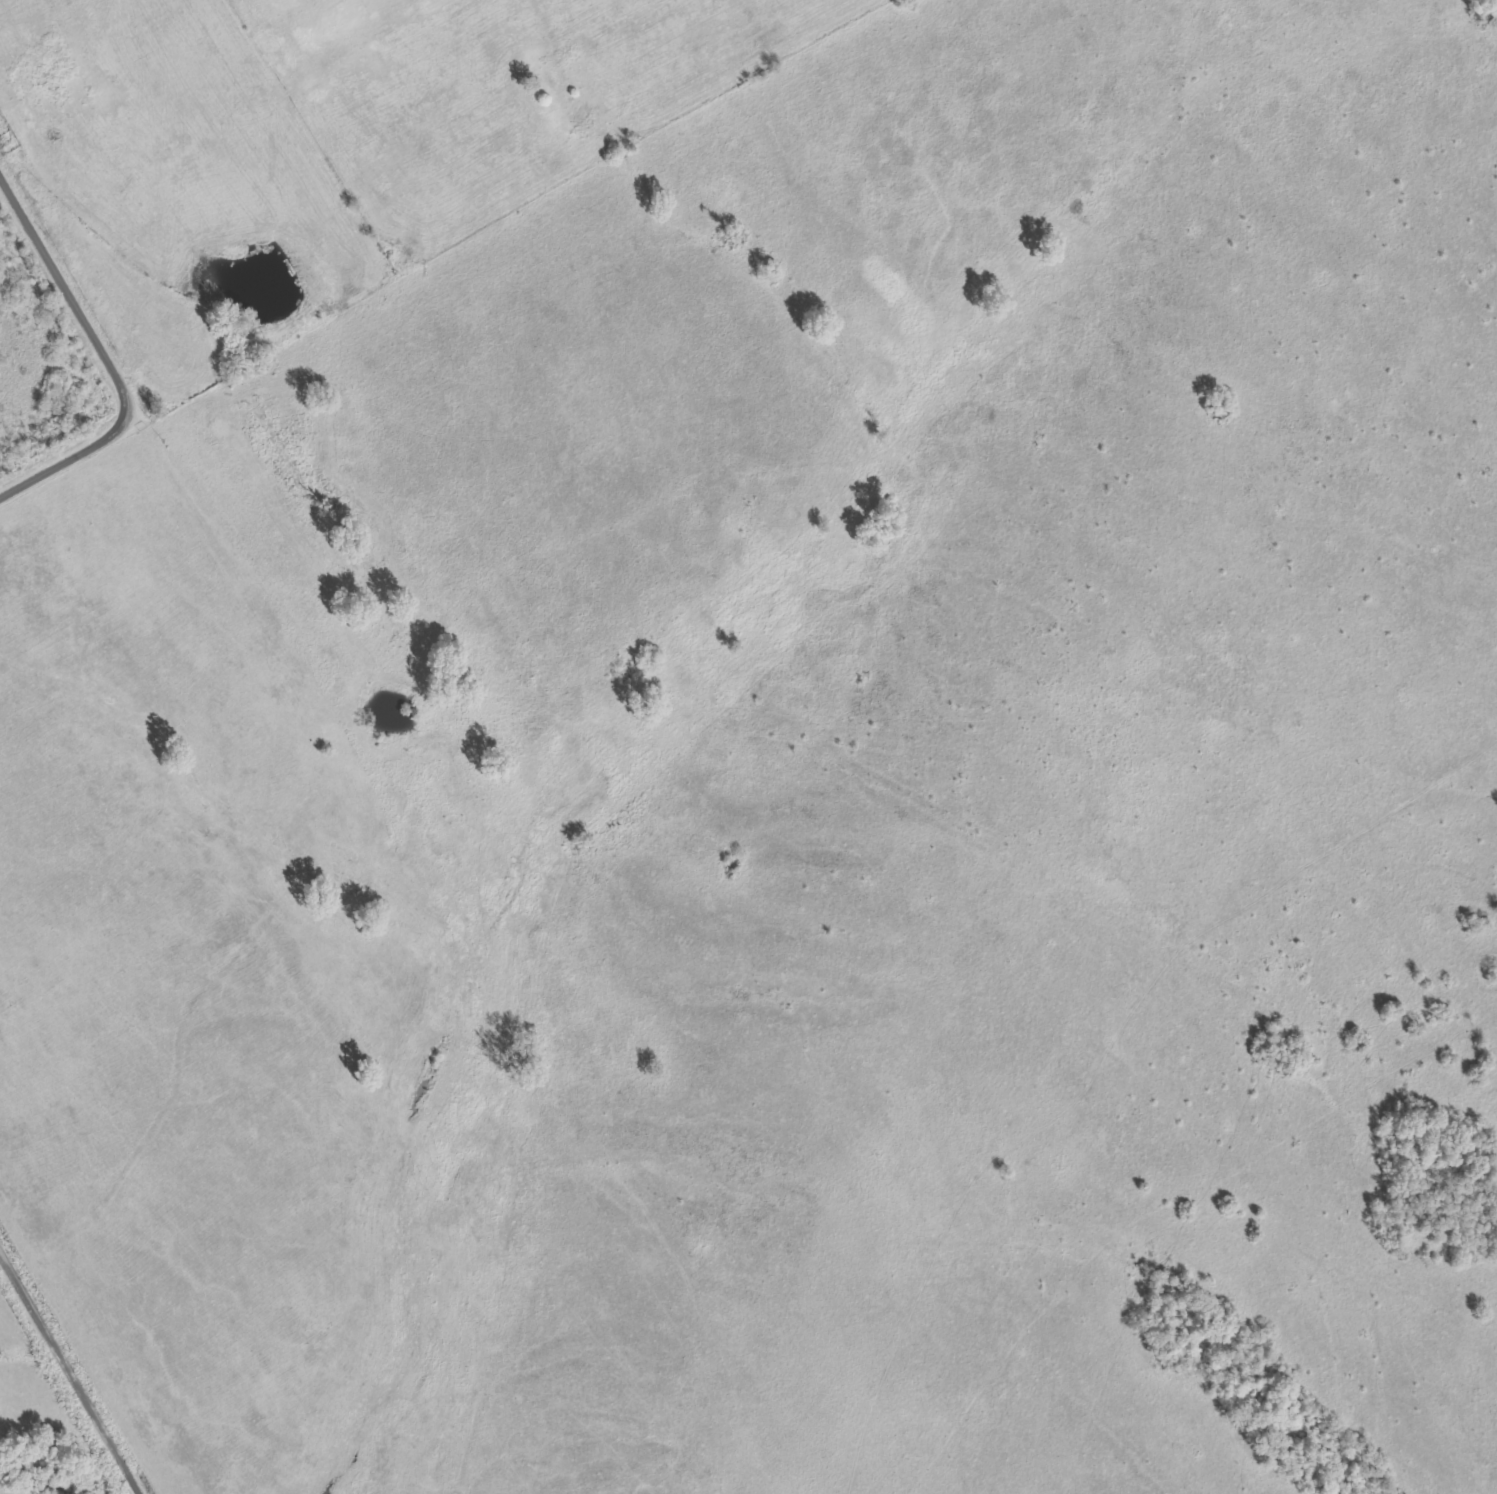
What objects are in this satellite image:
building: (45, 68)
road: (107, 361)
road: (243, 562)
road: (66, 1376)

